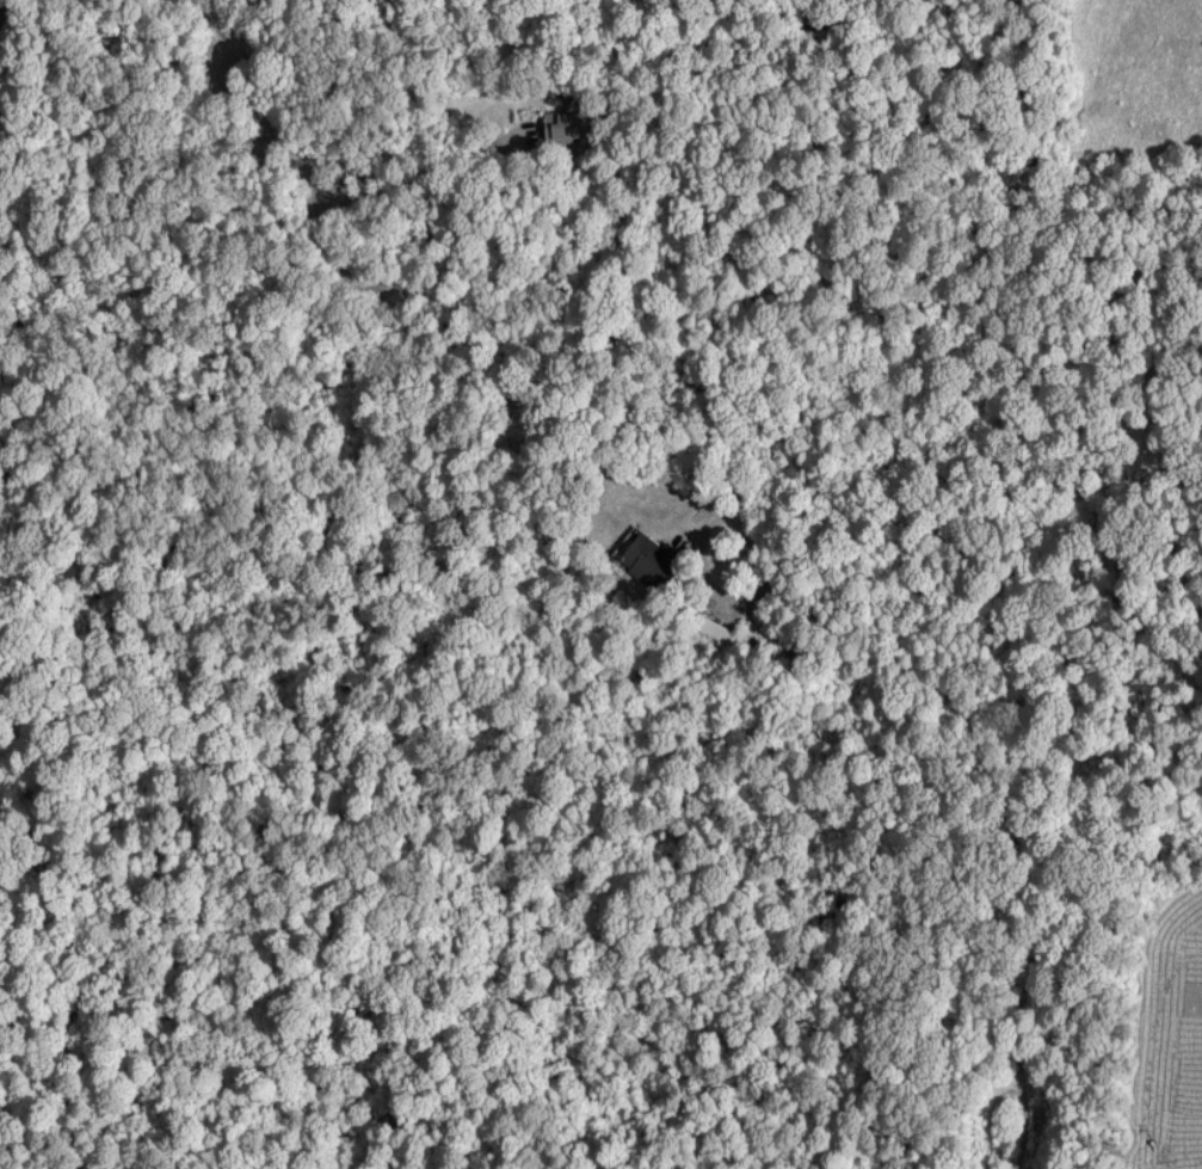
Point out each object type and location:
building: (563, 125)
road: (420, 172)
road: (445, 295)
building: (648, 558)

